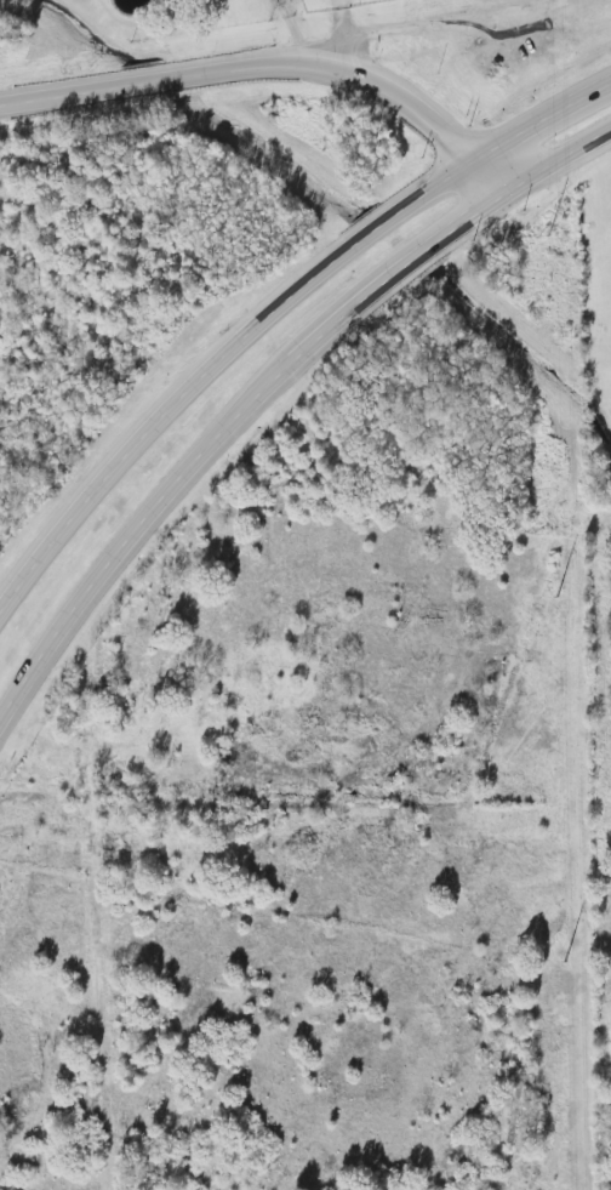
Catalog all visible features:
road: (430, 19)
road: (291, 32)
road: (276, 66)
road: (538, 121)
road: (554, 169)
power tower: (546, 229)
road: (212, 364)
road: (217, 431)
power tower: (554, 588)
power tower: (561, 956)

